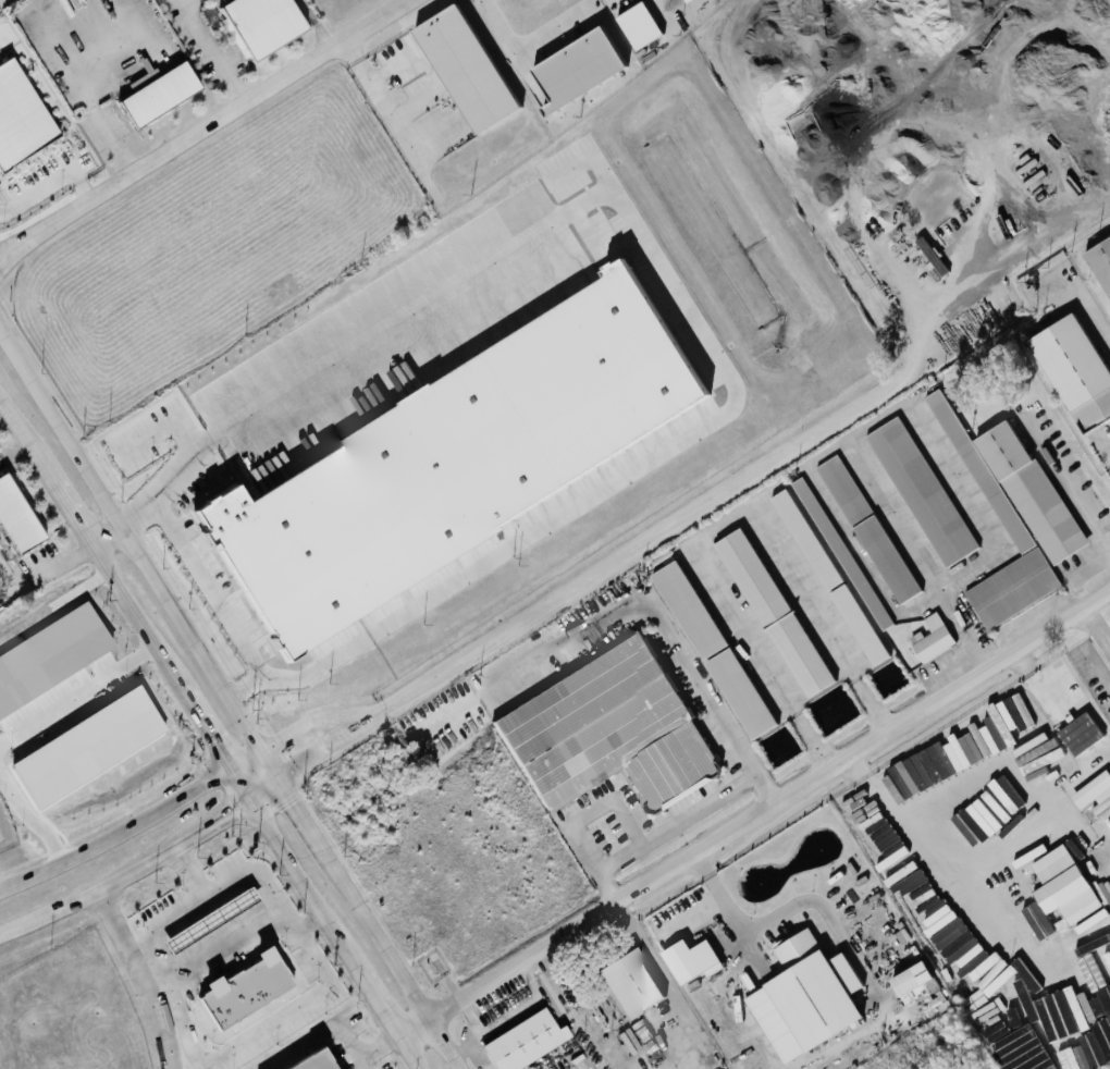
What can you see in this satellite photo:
building: (689, 0)
building: (261, 23)
road: (316, 24)
building: (643, 25)
road: (566, 28)
road: (521, 45)
road: (211, 52)
road: (388, 66)
building: (476, 69)
building: (158, 95)
road: (249, 99)
road: (90, 101)
road: (414, 103)
building: (20, 118)
road: (386, 119)
road: (40, 189)
road: (54, 221)
building: (1102, 255)
building: (927, 256)
road: (1095, 312)
building: (1070, 372)
road: (878, 417)
road: (242, 443)
road: (12, 446)
road: (27, 446)
road: (637, 471)
road: (1068, 487)
building: (920, 492)
building: (1010, 516)
building: (17, 517)
road: (73, 518)
road: (718, 523)
building: (864, 529)
road: (651, 537)
road: (131, 544)
building: (839, 553)
road: (1075, 572)
road: (40, 574)
building: (824, 577)
road: (131, 611)
building: (767, 612)
road: (663, 618)
road: (1094, 631)
building: (929, 639)
building: (707, 649)
road: (246, 688)
road: (75, 693)
road: (361, 716)
road: (1068, 724)
road: (300, 727)
building: (610, 732)
road: (212, 738)
traffic signals: (280, 740)
traffic signals: (214, 741)
road: (311, 753)
road: (1029, 761)
road: (877, 787)
building: (1089, 790)
road: (268, 792)
road: (293, 802)
traffic signals: (294, 803)
building: (1100, 809)
road: (753, 812)
traffic signals: (236, 813)
road: (26, 824)
building: (1106, 825)
road: (134, 826)
road: (213, 826)
road: (579, 840)
road: (619, 859)
road: (263, 875)
building: (1058, 886)
road: (307, 889)
road: (88, 895)
road: (789, 909)
building: (669, 927)
building: (947, 938)
road: (1006, 938)
road: (137, 947)
road: (393, 962)
building: (684, 963)
road: (137, 979)
building: (909, 982)
building: (632, 985)
building: (238, 987)
building: (799, 997)
road: (380, 1007)
road: (508, 1017)
building: (997, 1019)
road: (341, 1024)
road: (467, 1033)
building: (1090, 1037)
road: (594, 1040)
building: (527, 1043)
road: (408, 1053)
building: (1026, 1053)
road: (198, 1057)
road: (638, 1059)
building: (304, 1061)
road: (368, 1064)
road: (540, 1065)

